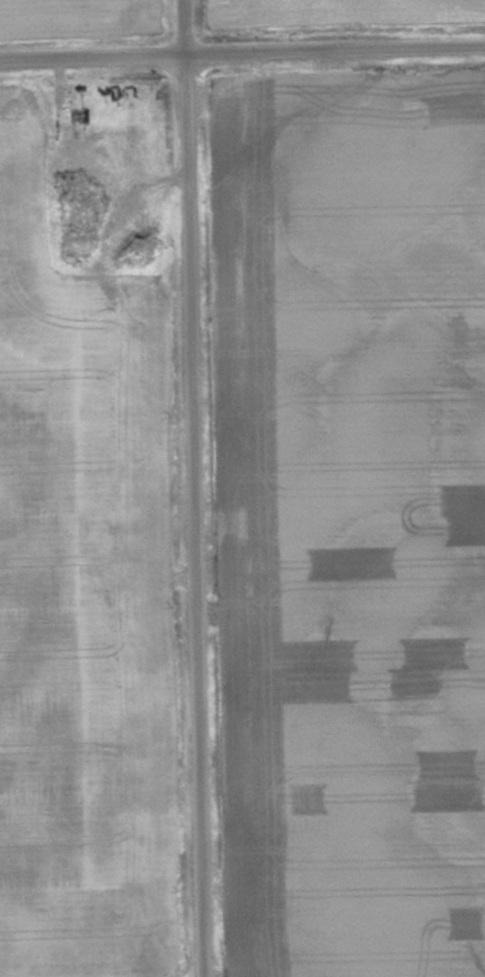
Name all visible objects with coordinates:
road: (242, 53)
building: (83, 230)
road: (188, 488)

